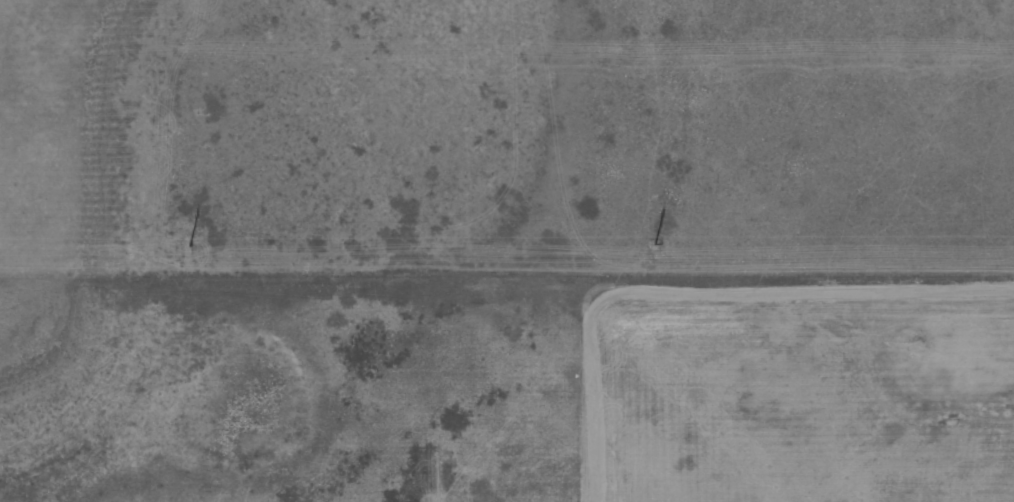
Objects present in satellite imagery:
power tower: (655, 244)
power tower: (191, 245)

